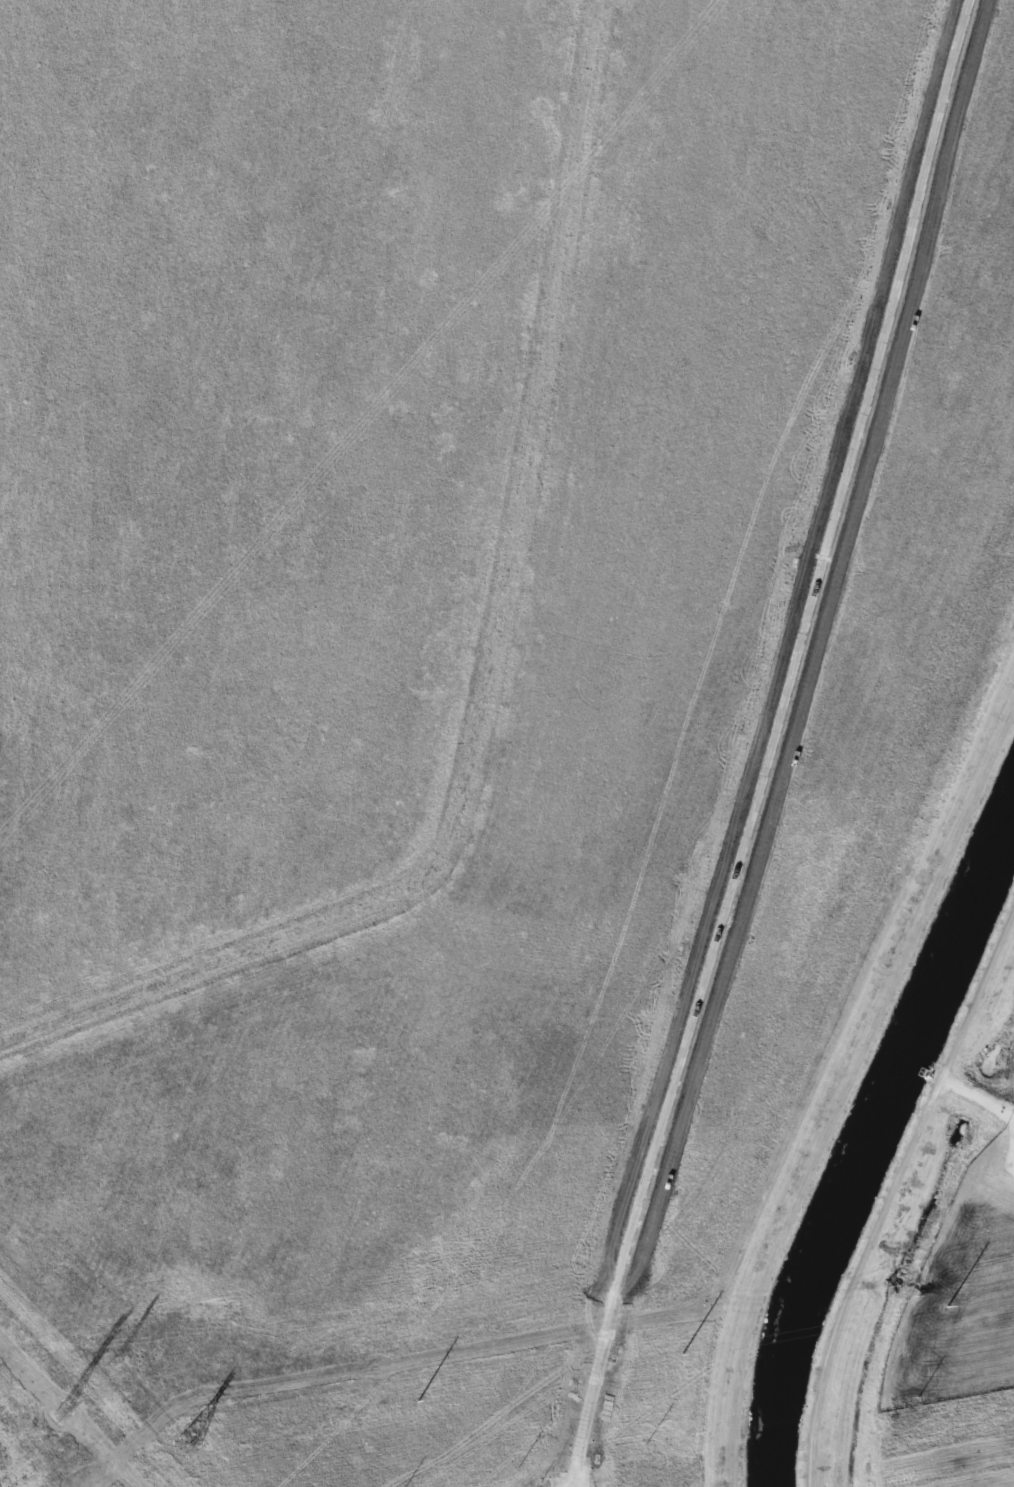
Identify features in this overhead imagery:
power tower: (111, 1364)
power tower: (59, 1412)

